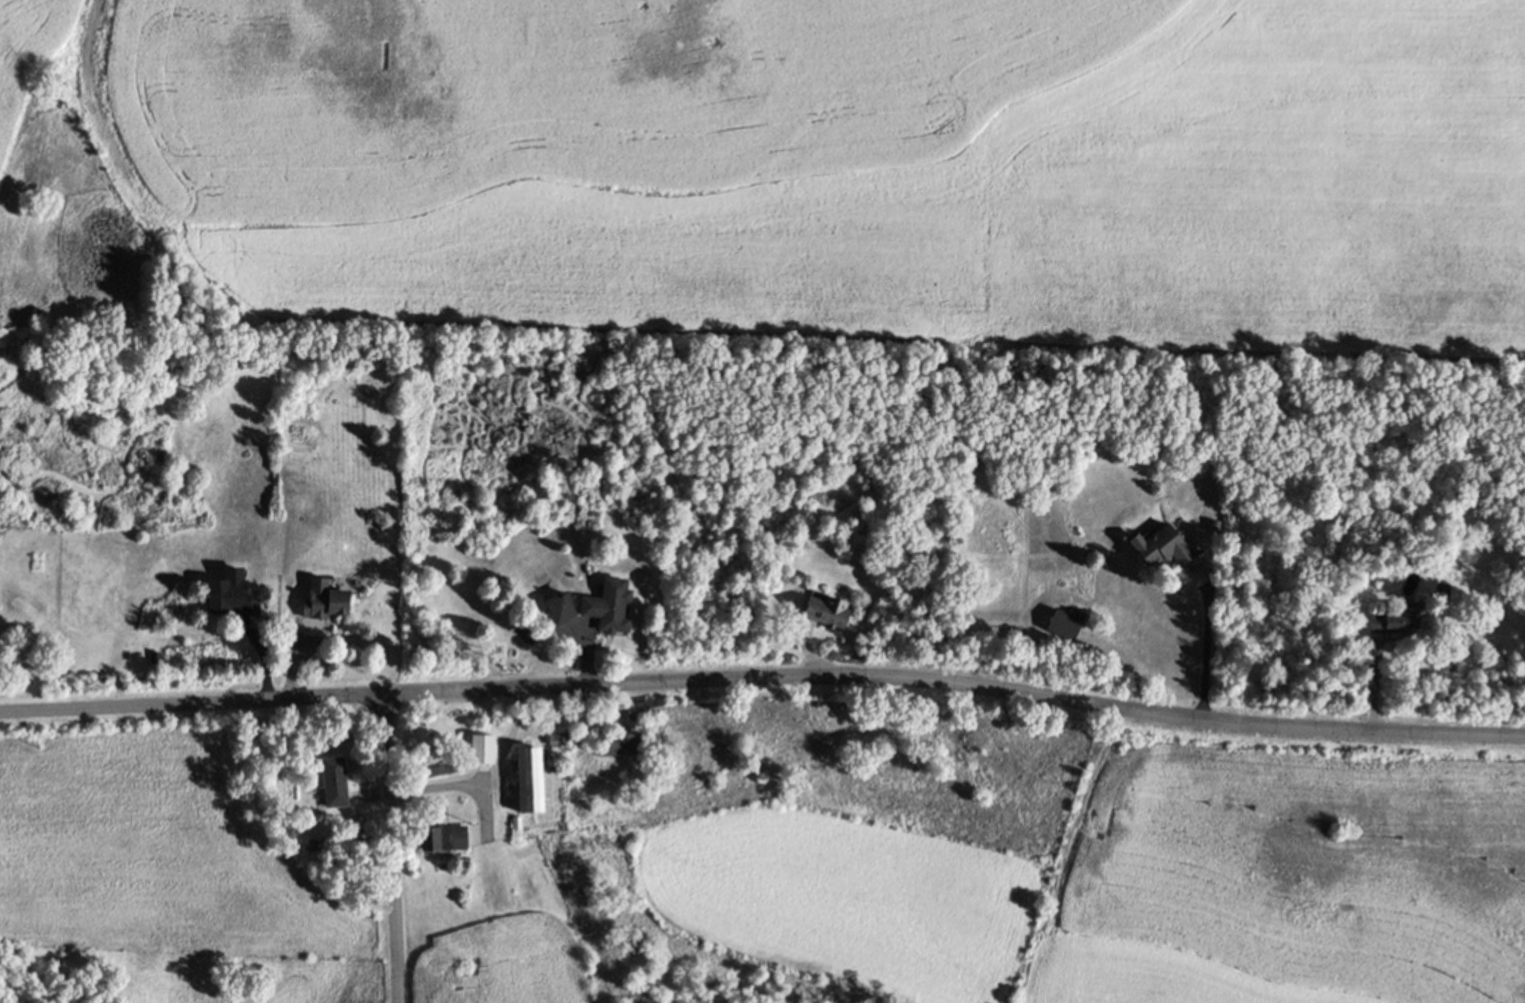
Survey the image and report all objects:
crop: (841, 178)
building: (1165, 546)
building: (323, 598)
building: (232, 599)
building: (608, 606)
building: (559, 607)
building: (827, 611)
building: (1394, 620)
building: (1064, 626)
road: (1208, 646)
building: (154, 656)
road: (763, 679)
building: (644, 707)
building: (569, 736)
building: (618, 743)
building: (479, 746)
building: (592, 748)
building: (444, 767)
building: (526, 775)
building: (333, 781)
road: (456, 785)
building: (516, 821)
building: (441, 836)
road: (390, 851)
road: (1074, 855)
building: (414, 869)
crop: (1065, 883)

